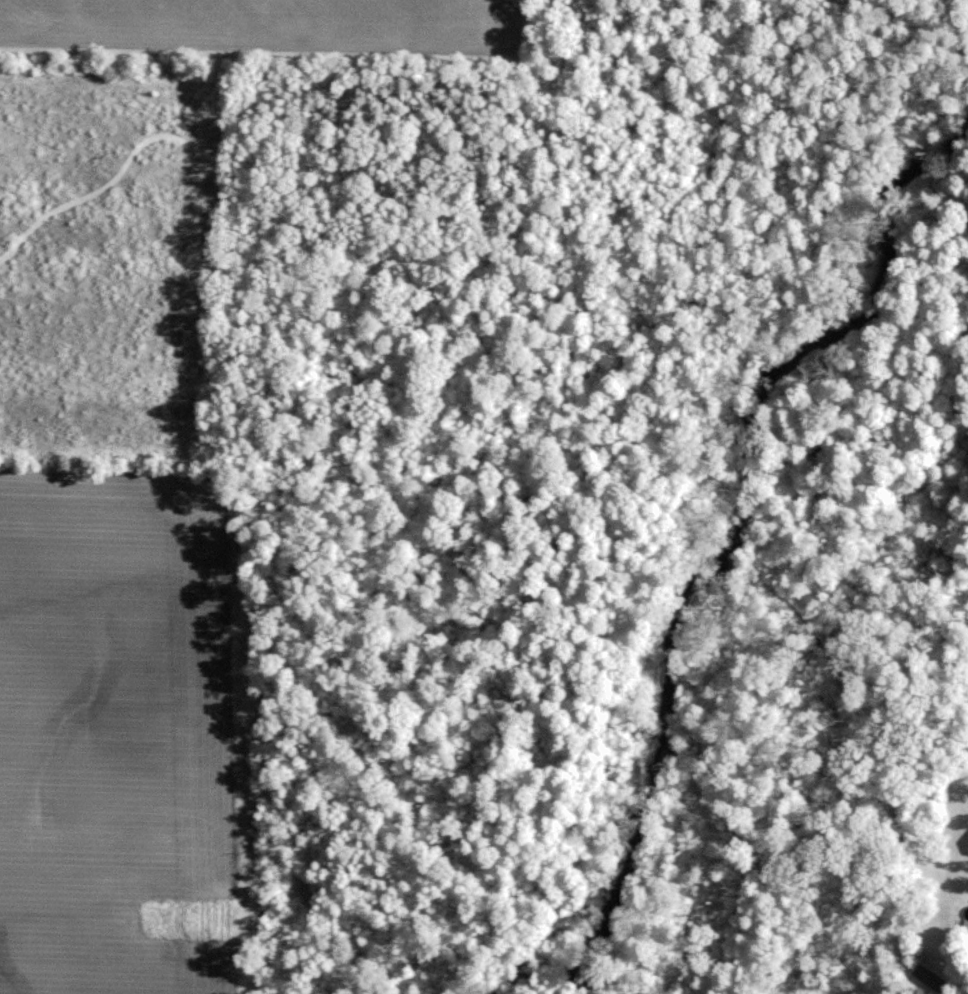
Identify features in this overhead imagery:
road: (553, 90)
road: (862, 145)
road: (449, 174)
road: (109, 181)
road: (721, 234)
road: (416, 282)
road: (92, 360)
road: (690, 374)
road: (387, 392)
river: (709, 495)

